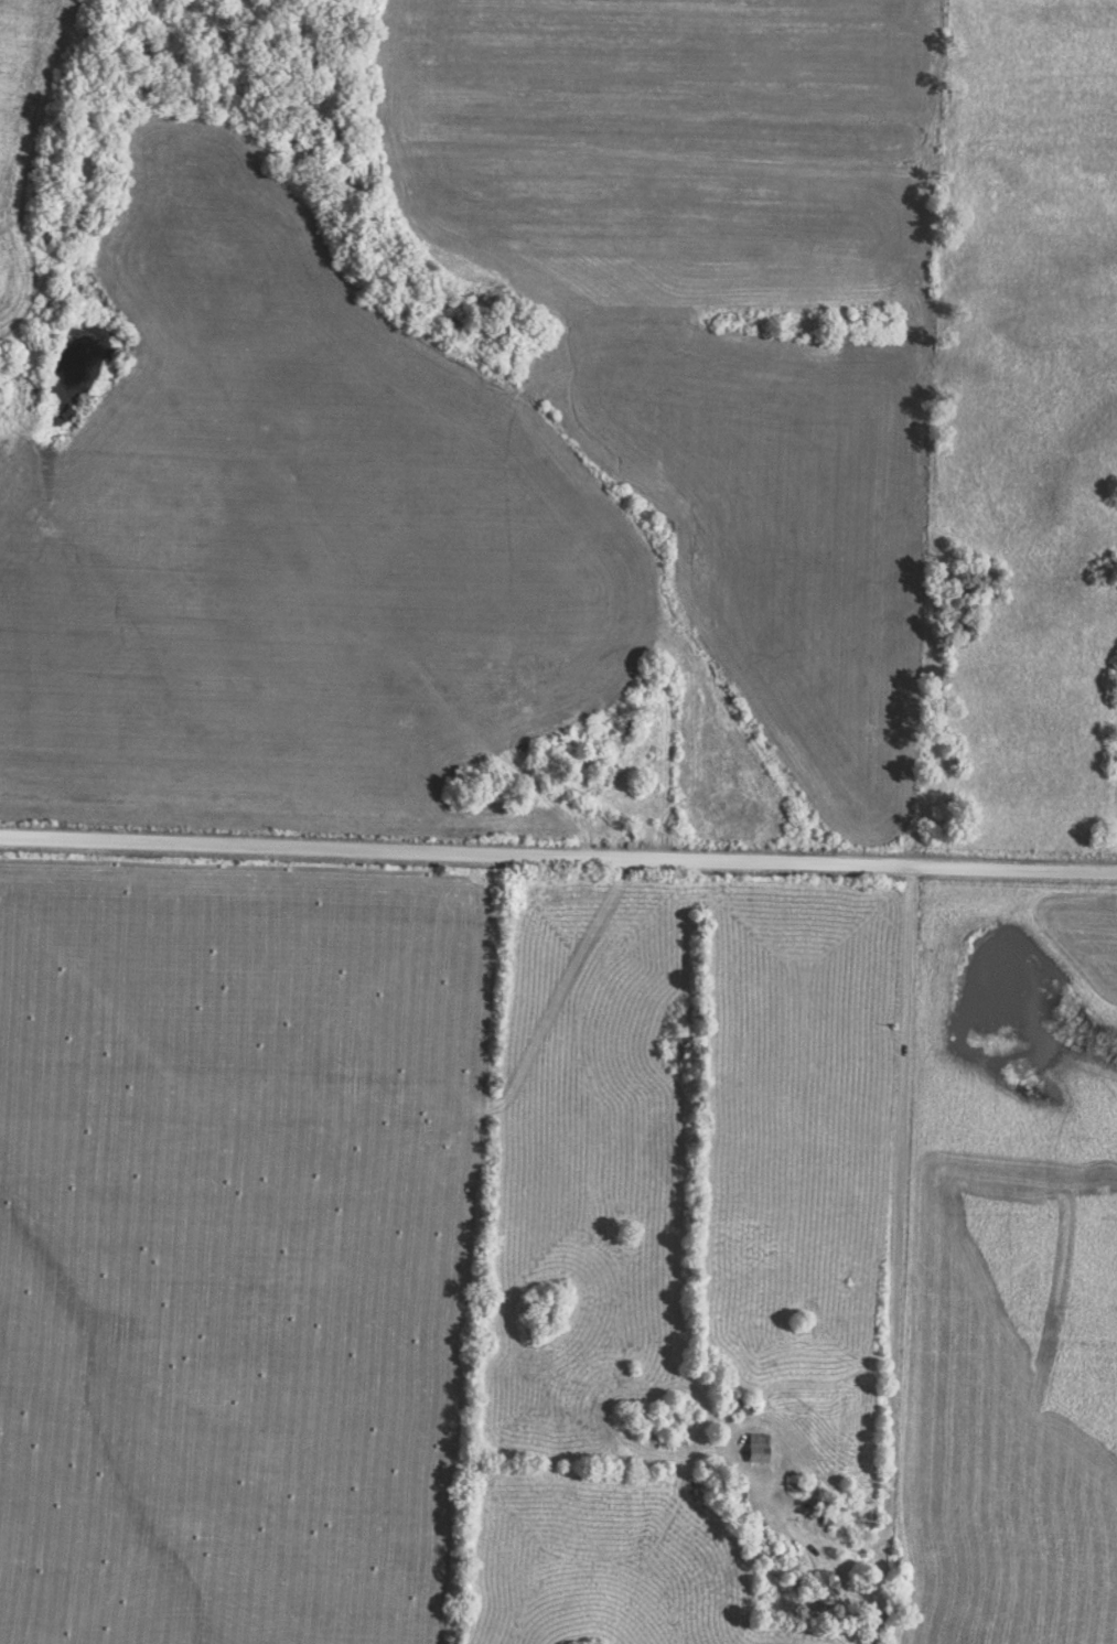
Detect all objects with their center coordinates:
road: (558, 857)
road: (899, 1193)
building: (738, 1405)
building: (753, 1453)
building: (754, 1546)
building: (820, 1587)

